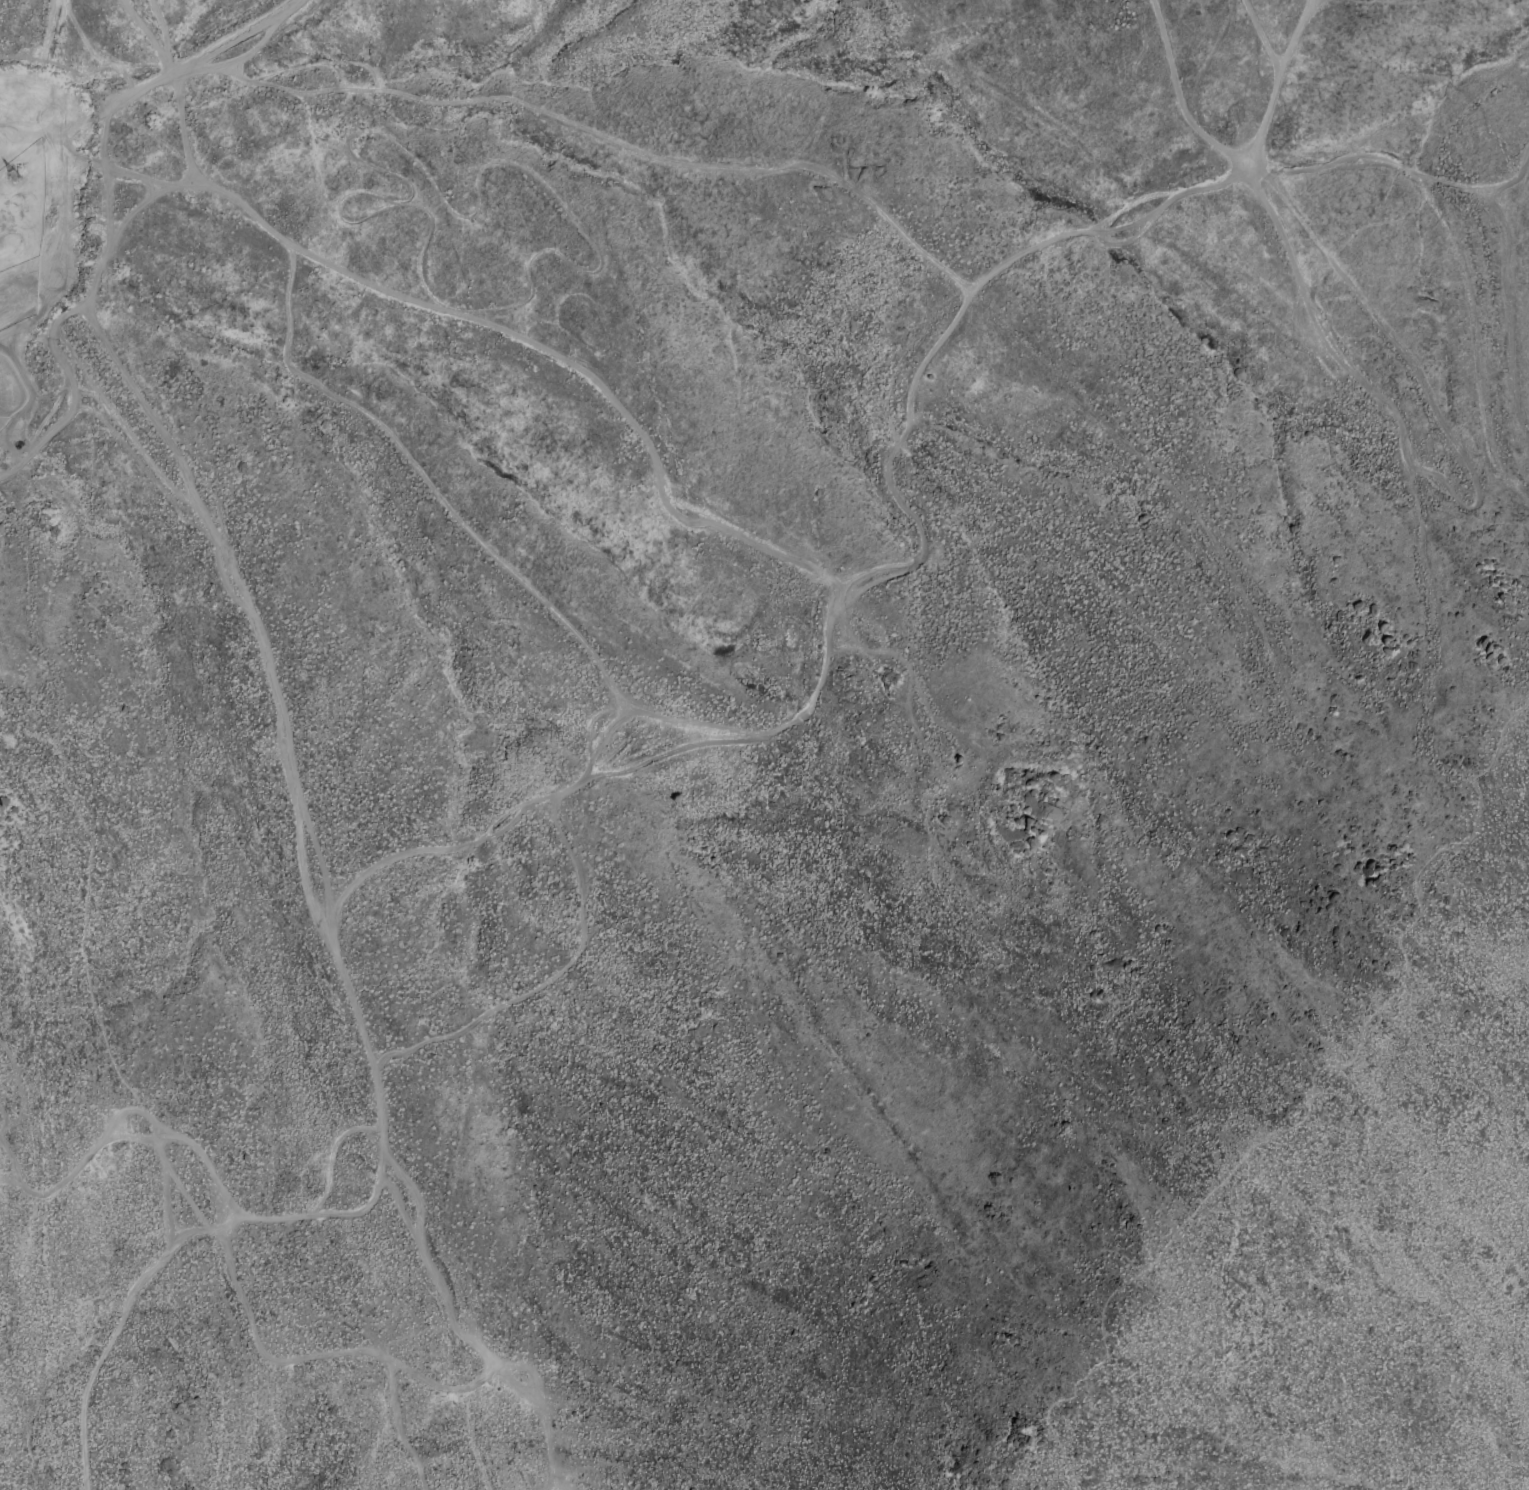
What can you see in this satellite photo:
road: (106, 171)
road: (1305, 1108)

